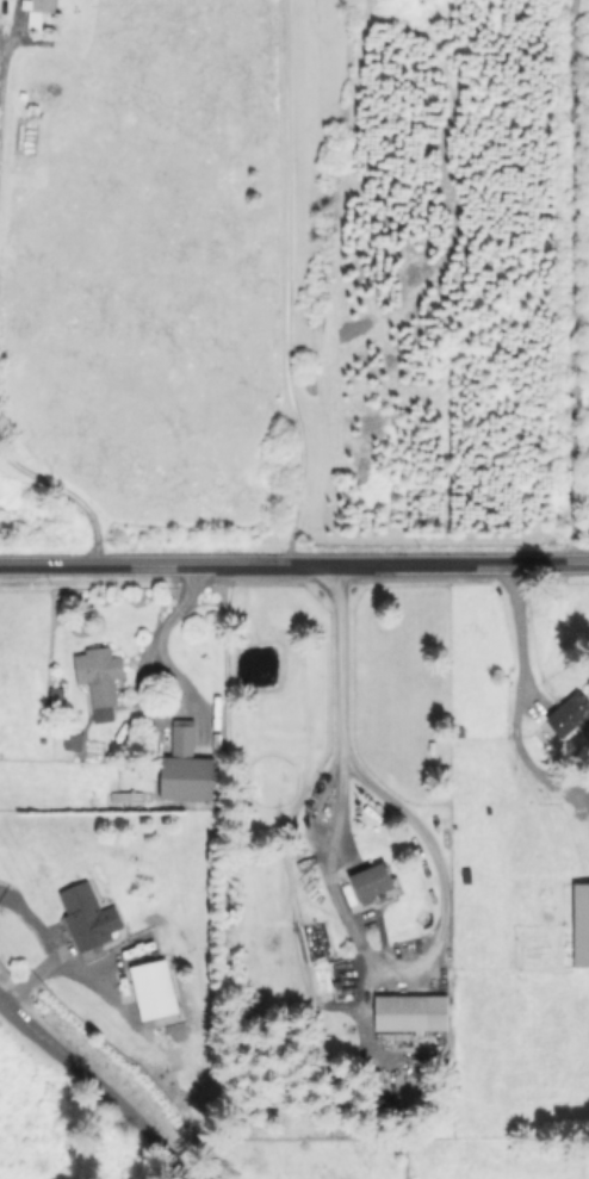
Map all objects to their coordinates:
building: (42, 7)
road: (0, 55)
road: (287, 279)
road: (566, 287)
road: (64, 492)
road: (293, 559)
road: (514, 626)
road: (156, 638)
building: (97, 676)
building: (568, 715)
building: (184, 768)
building: (371, 883)
road: (337, 916)
building: (86, 918)
building: (579, 926)
building: (151, 991)
building: (409, 1014)
road: (95, 1084)

